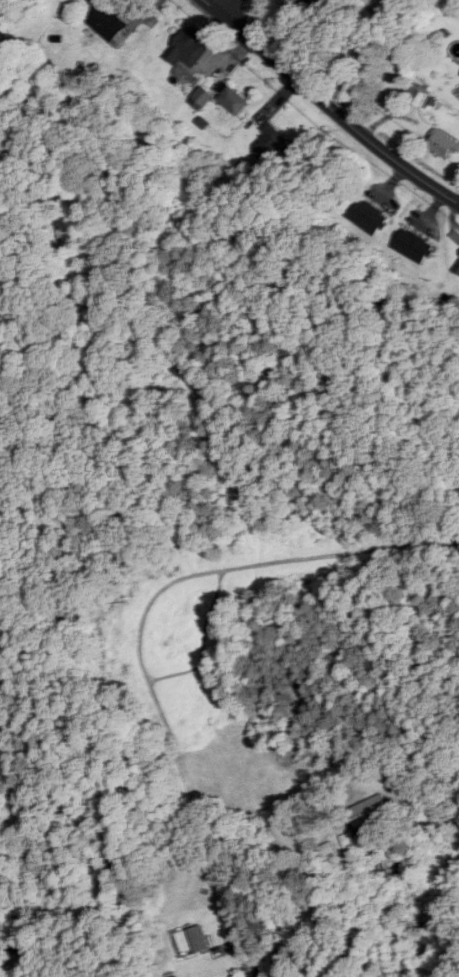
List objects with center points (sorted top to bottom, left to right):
building: (307, 2)
road: (227, 7)
building: (109, 22)
building: (190, 48)
building: (233, 99)
road: (329, 104)
building: (269, 142)
building: (444, 143)
building: (370, 216)
building: (415, 246)
building: (458, 265)
building: (1, 368)
road: (453, 819)
building: (390, 869)
building: (199, 939)
road: (30, 946)
building: (422, 946)
road: (255, 947)

